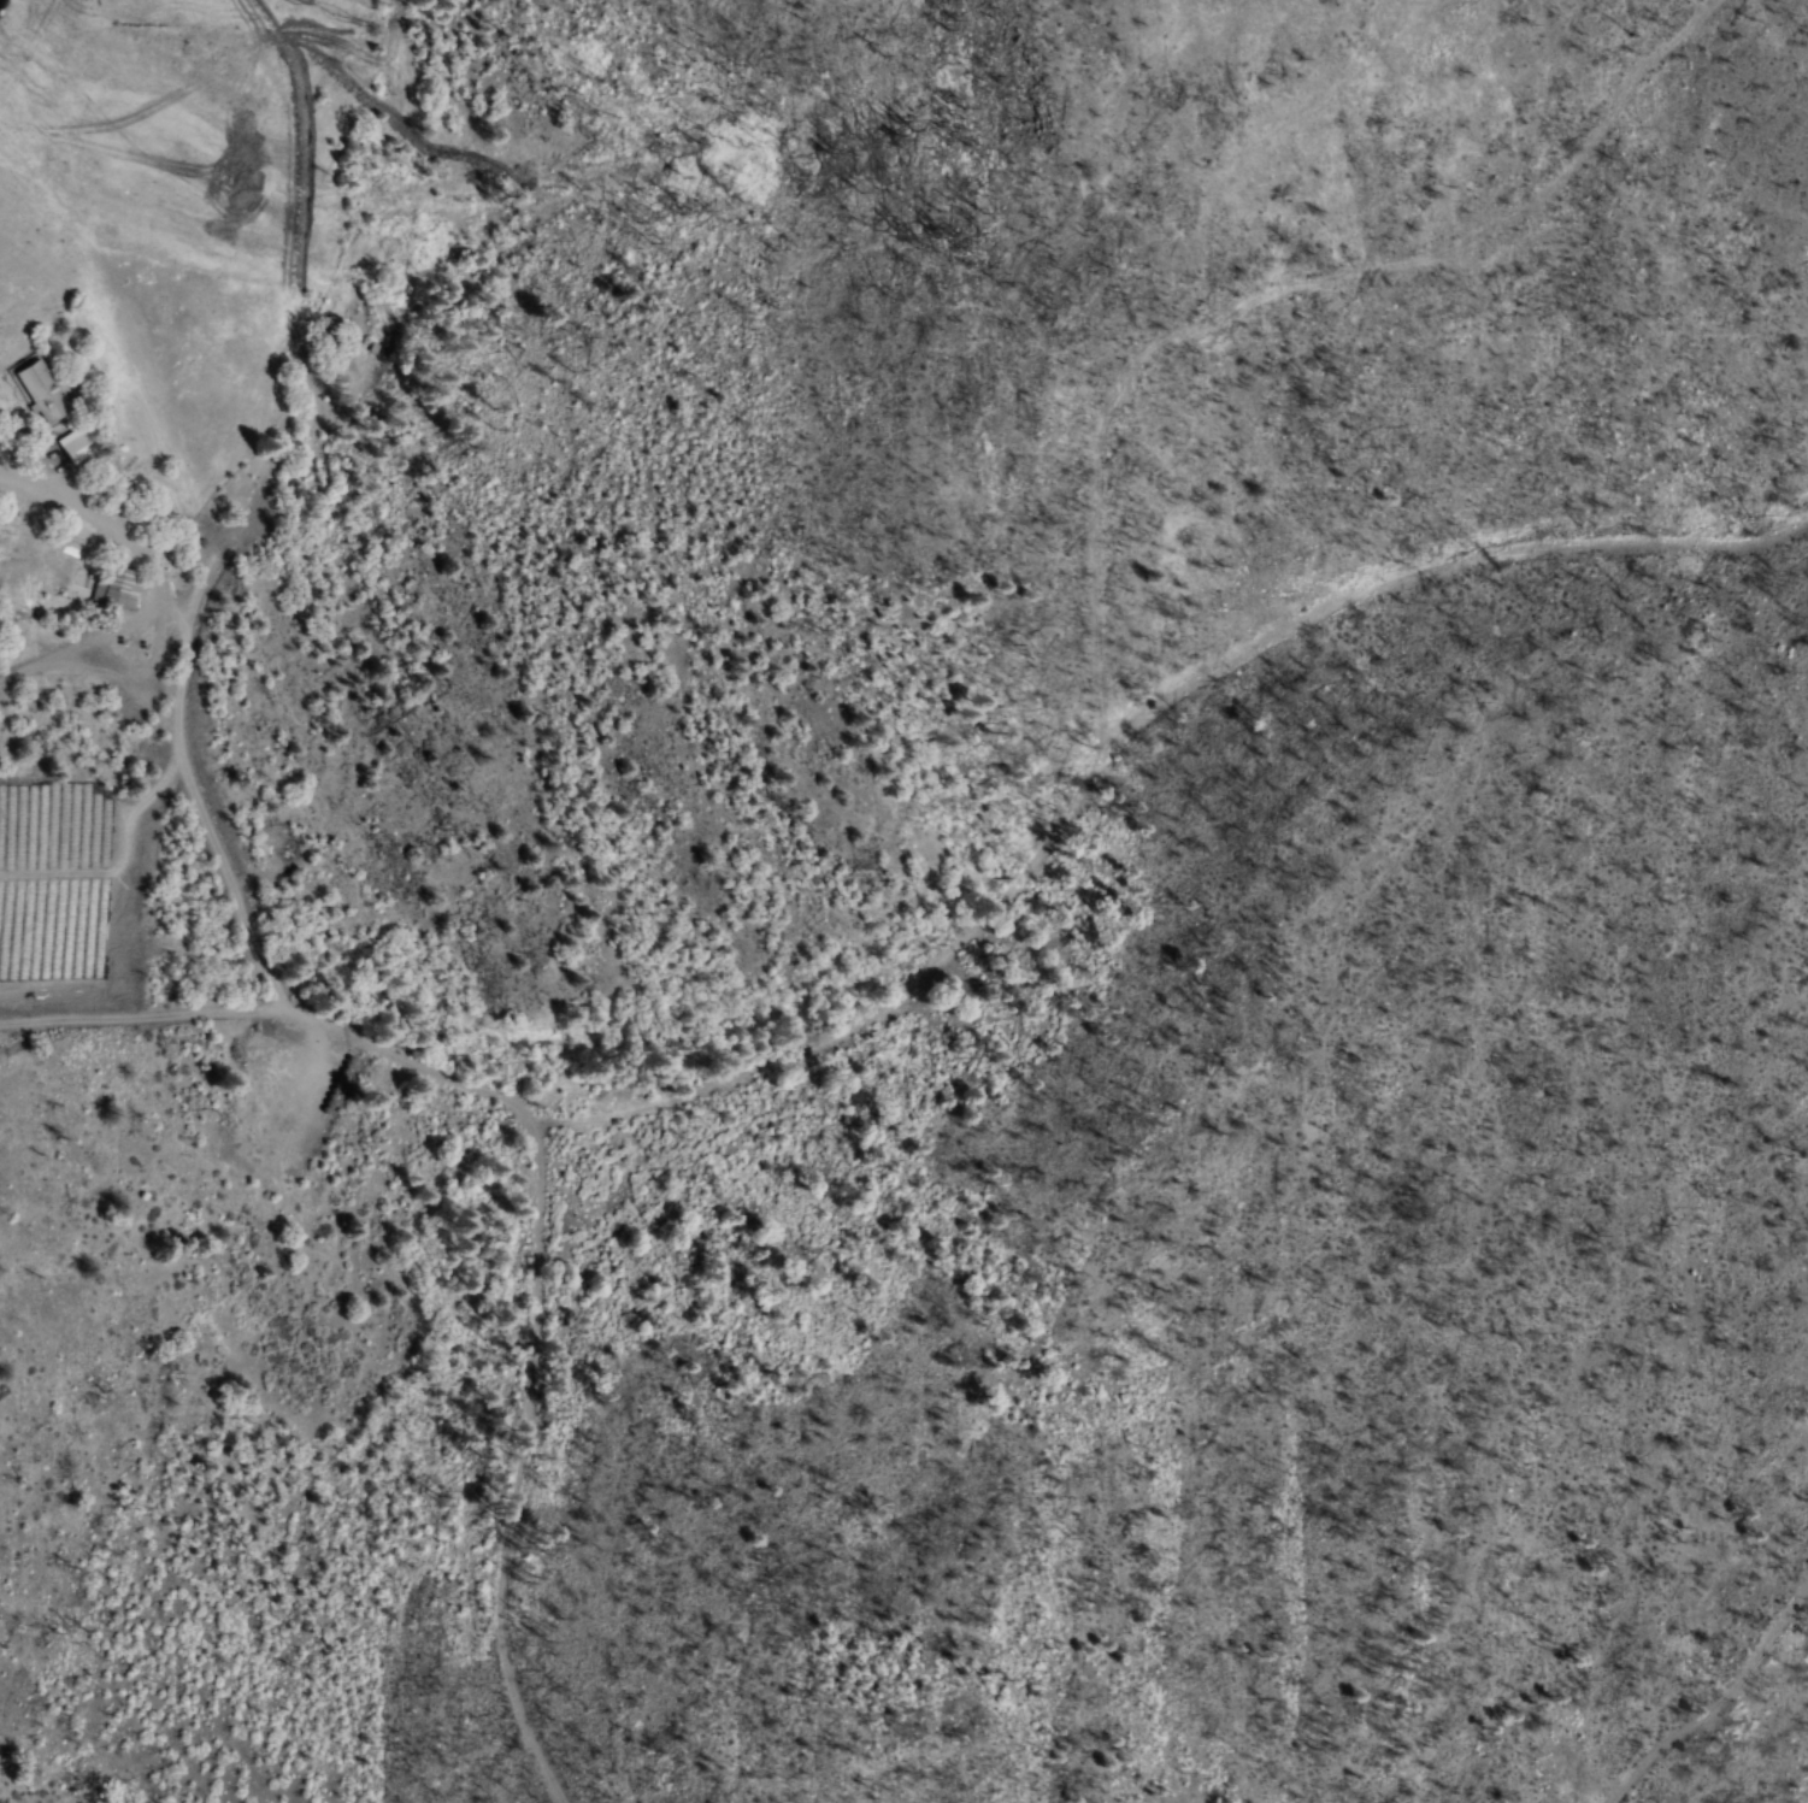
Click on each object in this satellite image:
road: (1273, 288)
road: (183, 671)
road: (1118, 723)
road: (529, 1186)
road: (1714, 1698)

